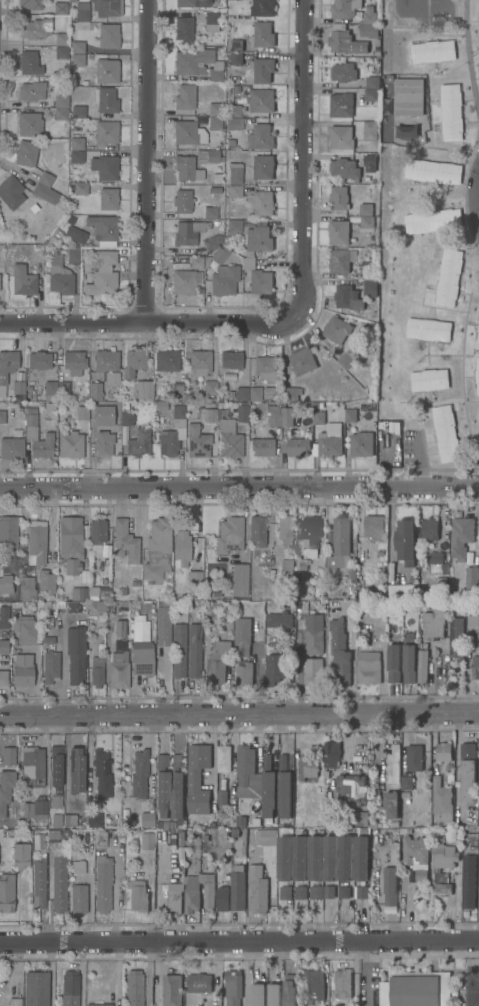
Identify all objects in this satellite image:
building: (72, 1)
building: (192, 2)
building: (29, 3)
building: (59, 7)
building: (107, 7)
building: (262, 7)
building: (344, 8)
building: (80, 11)
building: (369, 15)
building: (478, 17)
building: (210, 21)
building: (35, 28)
building: (183, 28)
building: (368, 29)
building: (262, 34)
building: (108, 35)
building: (61, 38)
building: (338, 39)
building: (376, 44)
building: (236, 45)
building: (77, 46)
building: (432, 50)
building: (54, 51)
building: (235, 58)
building: (76, 59)
building: (191, 60)
road: (466, 60)
building: (29, 62)
building: (262, 69)
building: (106, 70)
building: (343, 71)
building: (214, 73)
building: (372, 81)
building: (31, 90)
building: (370, 95)
building: (184, 96)
building: (407, 97)
building: (105, 99)
building: (261, 99)
building: (60, 100)
building: (341, 104)
building: (214, 108)
building: (233, 110)
building: (77, 111)
building: (451, 111)
building: (60, 113)
building: (214, 122)
building: (29, 123)
building: (234, 123)
building: (370, 129)
building: (105, 132)
building: (188, 132)
building: (262, 135)
building: (341, 136)
building: (76, 143)
building: (25, 152)
road: (303, 154)
building: (209, 155)
building: (76, 156)
building: (370, 158)
road: (146, 162)
building: (262, 166)
building: (104, 167)
building: (344, 167)
building: (186, 168)
building: (432, 170)
building: (234, 173)
building: (216, 177)
building: (45, 178)
building: (80, 188)
building: (234, 191)
building: (10, 192)
building: (43, 193)
building: (338, 197)
building: (108, 198)
building: (182, 200)
building: (262, 202)
road: (474, 203)
building: (365, 208)
building: (210, 212)
building: (69, 219)
building: (432, 220)
building: (366, 221)
building: (234, 226)
building: (102, 227)
building: (188, 231)
building: (338, 231)
building: (75, 234)
building: (51, 237)
building: (258, 238)
building: (212, 241)
building: (220, 254)
building: (72, 255)
building: (341, 260)
building: (206, 261)
building: (195, 262)
building: (366, 270)
building: (102, 275)
building: (448, 276)
building: (257, 277)
building: (224, 279)
building: (22, 280)
building: (61, 281)
building: (183, 281)
building: (370, 284)
building: (347, 297)
road: (151, 324)
building: (428, 328)
building: (335, 329)
building: (477, 330)
building: (347, 357)
building: (74, 359)
building: (230, 359)
building: (38, 360)
building: (105, 360)
building: (166, 360)
building: (302, 360)
building: (199, 361)
building: (134, 362)
building: (7, 364)
building: (265, 368)
building: (477, 374)
building: (112, 377)
building: (429, 379)
building: (62, 383)
building: (18, 387)
building: (50, 387)
building: (209, 387)
building: (94, 389)
building: (143, 390)
building: (176, 391)
building: (270, 392)
building: (290, 392)
building: (241, 393)
building: (255, 393)
building: (230, 394)
building: (12, 405)
building: (478, 411)
building: (81, 412)
building: (94, 412)
building: (243, 413)
building: (210, 414)
building: (272, 414)
building: (350, 414)
building: (2, 416)
building: (177, 416)
building: (286, 416)
building: (318, 417)
building: (63, 420)
building: (445, 432)
building: (30, 435)
building: (134, 436)
building: (197, 441)
building: (168, 442)
building: (103, 443)
building: (361, 443)
building: (70, 444)
building: (329, 444)
building: (230, 445)
building: (298, 446)
building: (11, 447)
building: (261, 447)
road: (418, 459)
road: (239, 485)
building: (374, 527)
building: (429, 528)
building: (285, 529)
building: (9, 530)
building: (257, 530)
building: (310, 531)
building: (229, 534)
building: (96, 535)
building: (460, 535)
building: (339, 539)
building: (124, 540)
building: (404, 540)
building: (35, 542)
building: (70, 543)
building: (181, 548)
building: (157, 550)
building: (434, 562)
building: (302, 564)
building: (286, 566)
building: (380, 569)
building: (351, 571)
building: (194, 576)
building: (300, 576)
building: (471, 578)
building: (239, 579)
building: (45, 580)
building: (135, 583)
building: (440, 586)
building: (167, 588)
building: (26, 589)
building: (122, 590)
building: (403, 591)
building: (92, 592)
building: (78, 593)
building: (212, 605)
building: (71, 607)
building: (95, 609)
building: (3, 617)
building: (278, 619)
building: (471, 620)
building: (163, 623)
building: (433, 623)
building: (119, 627)
building: (25, 628)
building: (314, 633)
building: (242, 636)
building: (362, 636)
building: (456, 637)
building: (46, 638)
building: (3, 646)
building: (178, 650)
building: (193, 650)
building: (340, 651)
building: (75, 654)
building: (141, 657)
building: (217, 662)
building: (393, 662)
building: (409, 663)
building: (422, 665)
building: (50, 666)
building: (475, 666)
building: (368, 667)
building: (97, 668)
building: (274, 668)
building: (22, 670)
building: (118, 670)
building: (313, 670)
building: (244, 674)
building: (3, 677)
road: (239, 714)
building: (443, 751)
building: (331, 753)
building: (8, 755)
building: (478, 756)
building: (223, 757)
building: (413, 757)
building: (244, 763)
building: (392, 764)
building: (31, 767)
building: (306, 767)
building: (76, 769)
building: (467, 772)
building: (139, 773)
building: (101, 774)
building: (55, 775)
building: (197, 778)
building: (406, 782)
building: (256, 785)
building: (161, 787)
building: (176, 787)
building: (5, 788)
building: (268, 788)
building: (284, 788)
building: (350, 788)
building: (375, 794)
building: (405, 794)
building: (221, 796)
building: (440, 799)
building: (391, 802)
building: (39, 807)
building: (360, 818)
building: (94, 819)
building: (146, 819)
building: (56, 820)
building: (69, 820)
building: (478, 821)
building: (394, 823)
building: (425, 830)
building: (53, 836)
building: (204, 836)
building: (265, 836)
building: (99, 838)
building: (37, 840)
building: (146, 840)
building: (415, 854)
building: (20, 855)
building: (314, 857)
building: (329, 857)
building: (284, 858)
building: (299, 858)
building: (345, 858)
building: (361, 859)
building: (442, 859)
building: (78, 866)
building: (391, 875)
building: (468, 881)
building: (38, 882)
building: (102, 883)
building: (58, 884)
building: (207, 888)
building: (443, 888)
building: (257, 889)
building: (236, 890)
building: (300, 891)
building: (6, 892)
building: (285, 892)
building: (316, 892)
building: (328, 892)
building: (343, 892)
building: (361, 892)
building: (191, 894)
building: (137, 895)
building: (222, 897)
building: (78, 899)
building: (174, 900)
road: (239, 940)
road: (244, 972)
park: (420, 973)
building: (199, 982)
building: (342, 983)
building: (134, 984)
building: (313, 984)
building: (232, 987)
building: (35, 988)
building: (69, 988)
building: (416, 988)
building: (289, 989)
building: (172, 990)
building: (258, 994)
building: (274, 994)
building: (187, 999)
building: (14, 1002)
building: (98, 1004)

